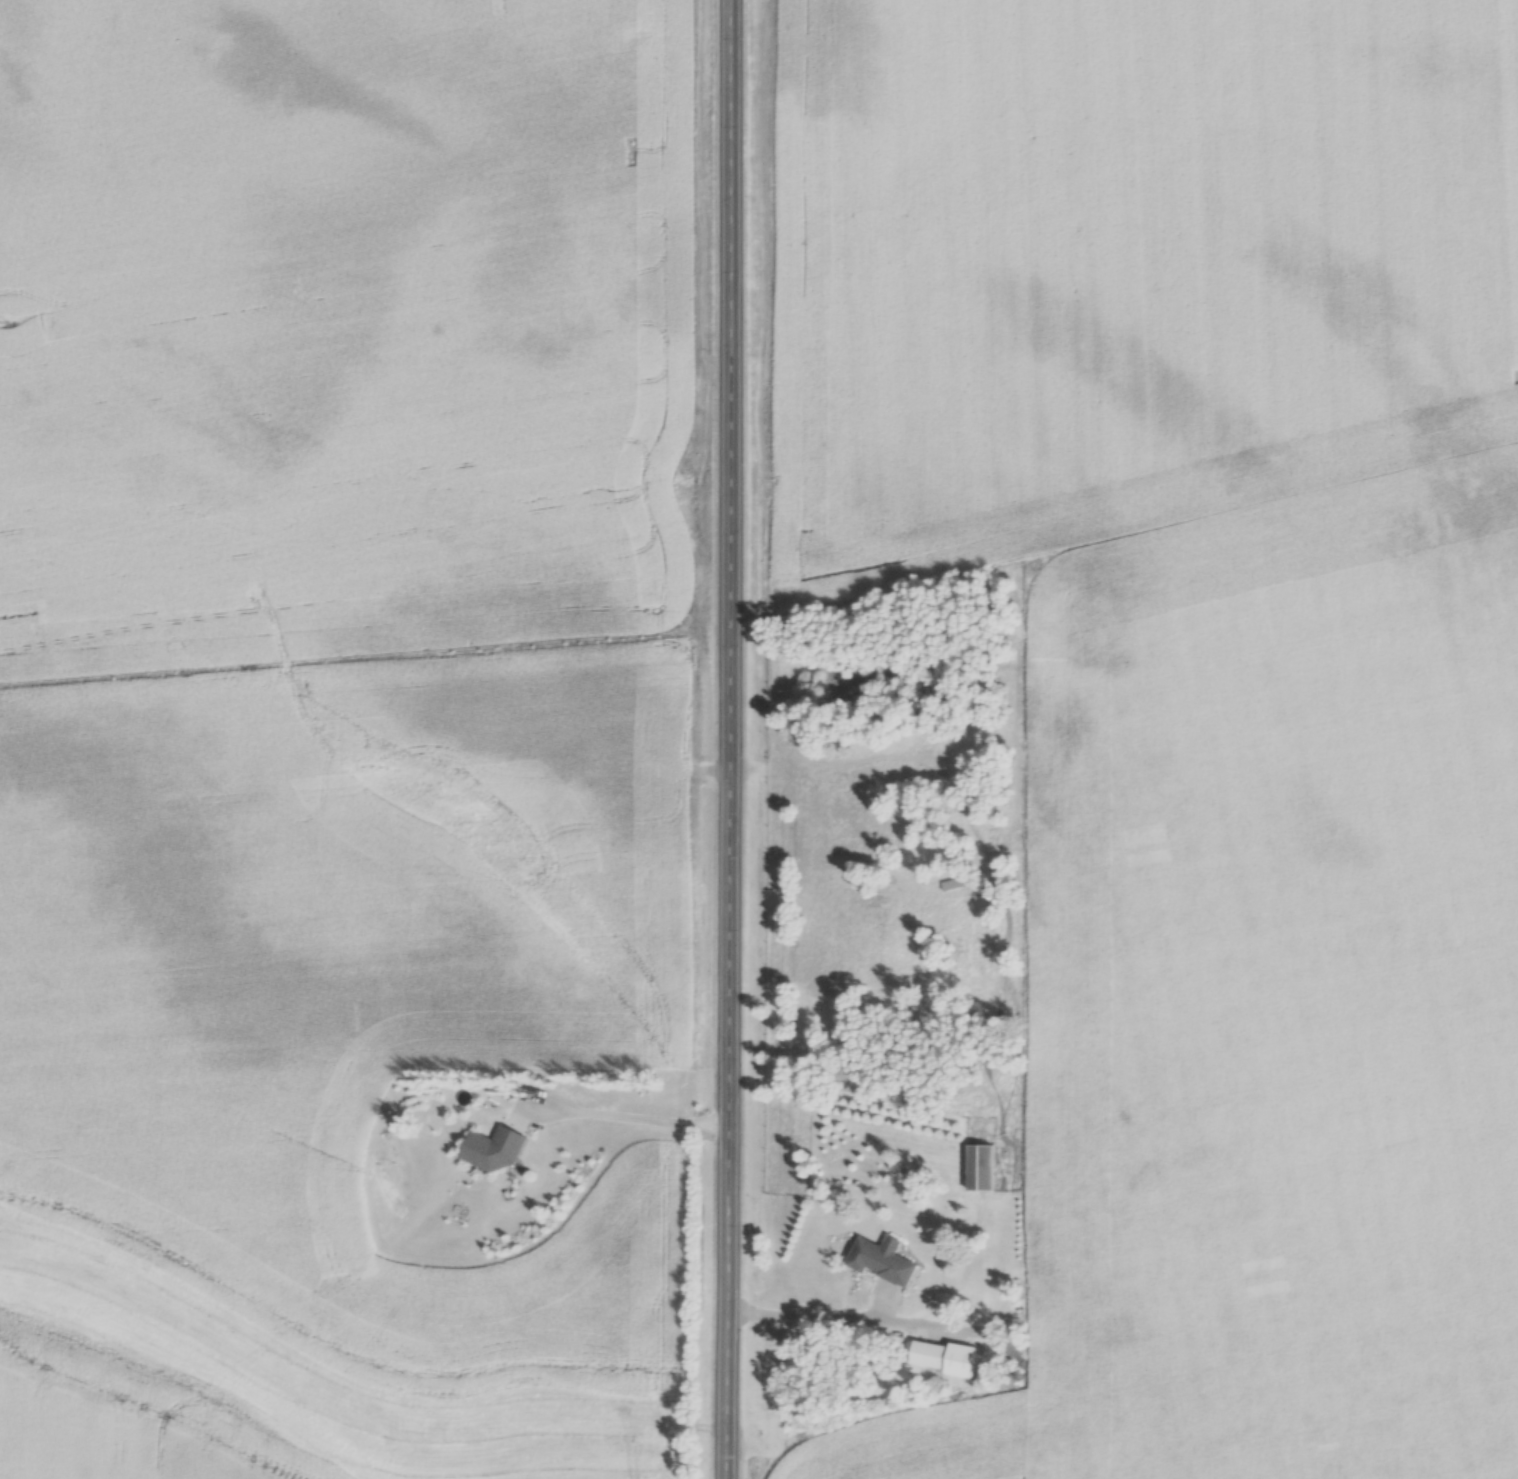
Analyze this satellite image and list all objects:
crop: (1128, 262)
power tower: (4, 323)
crop: (338, 332)
road: (721, 739)
road: (627, 1119)
building: (497, 1151)
building: (981, 1169)
building: (884, 1262)
road: (802, 1317)
building: (929, 1354)

